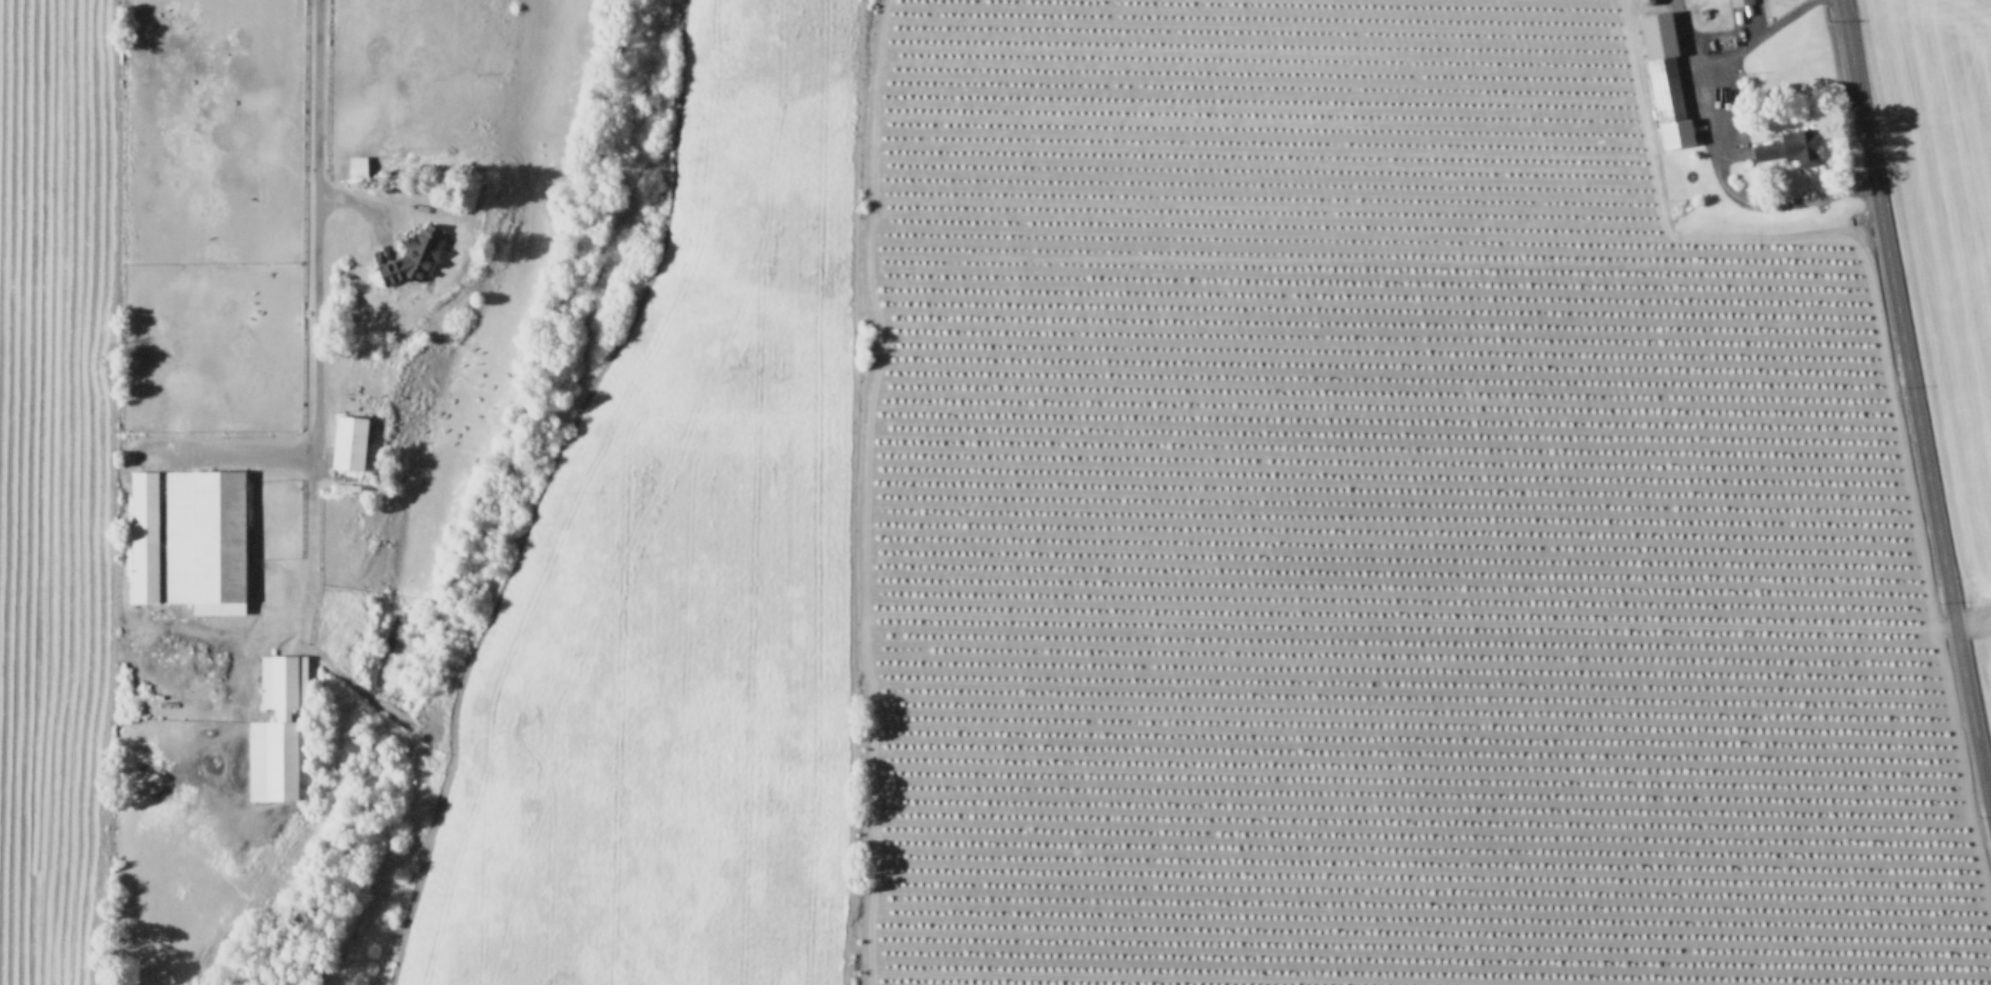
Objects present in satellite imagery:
building: (1739, 1)
road: (1754, 35)
building: (1665, 79)
road: (318, 80)
building: (1790, 146)
road: (1724, 163)
building: (356, 164)
road: (343, 189)
building: (412, 255)
road: (1914, 410)
crop: (221, 412)
road: (318, 419)
building: (348, 441)
crop: (1268, 512)
building: (143, 535)
building: (204, 539)
building: (276, 728)

